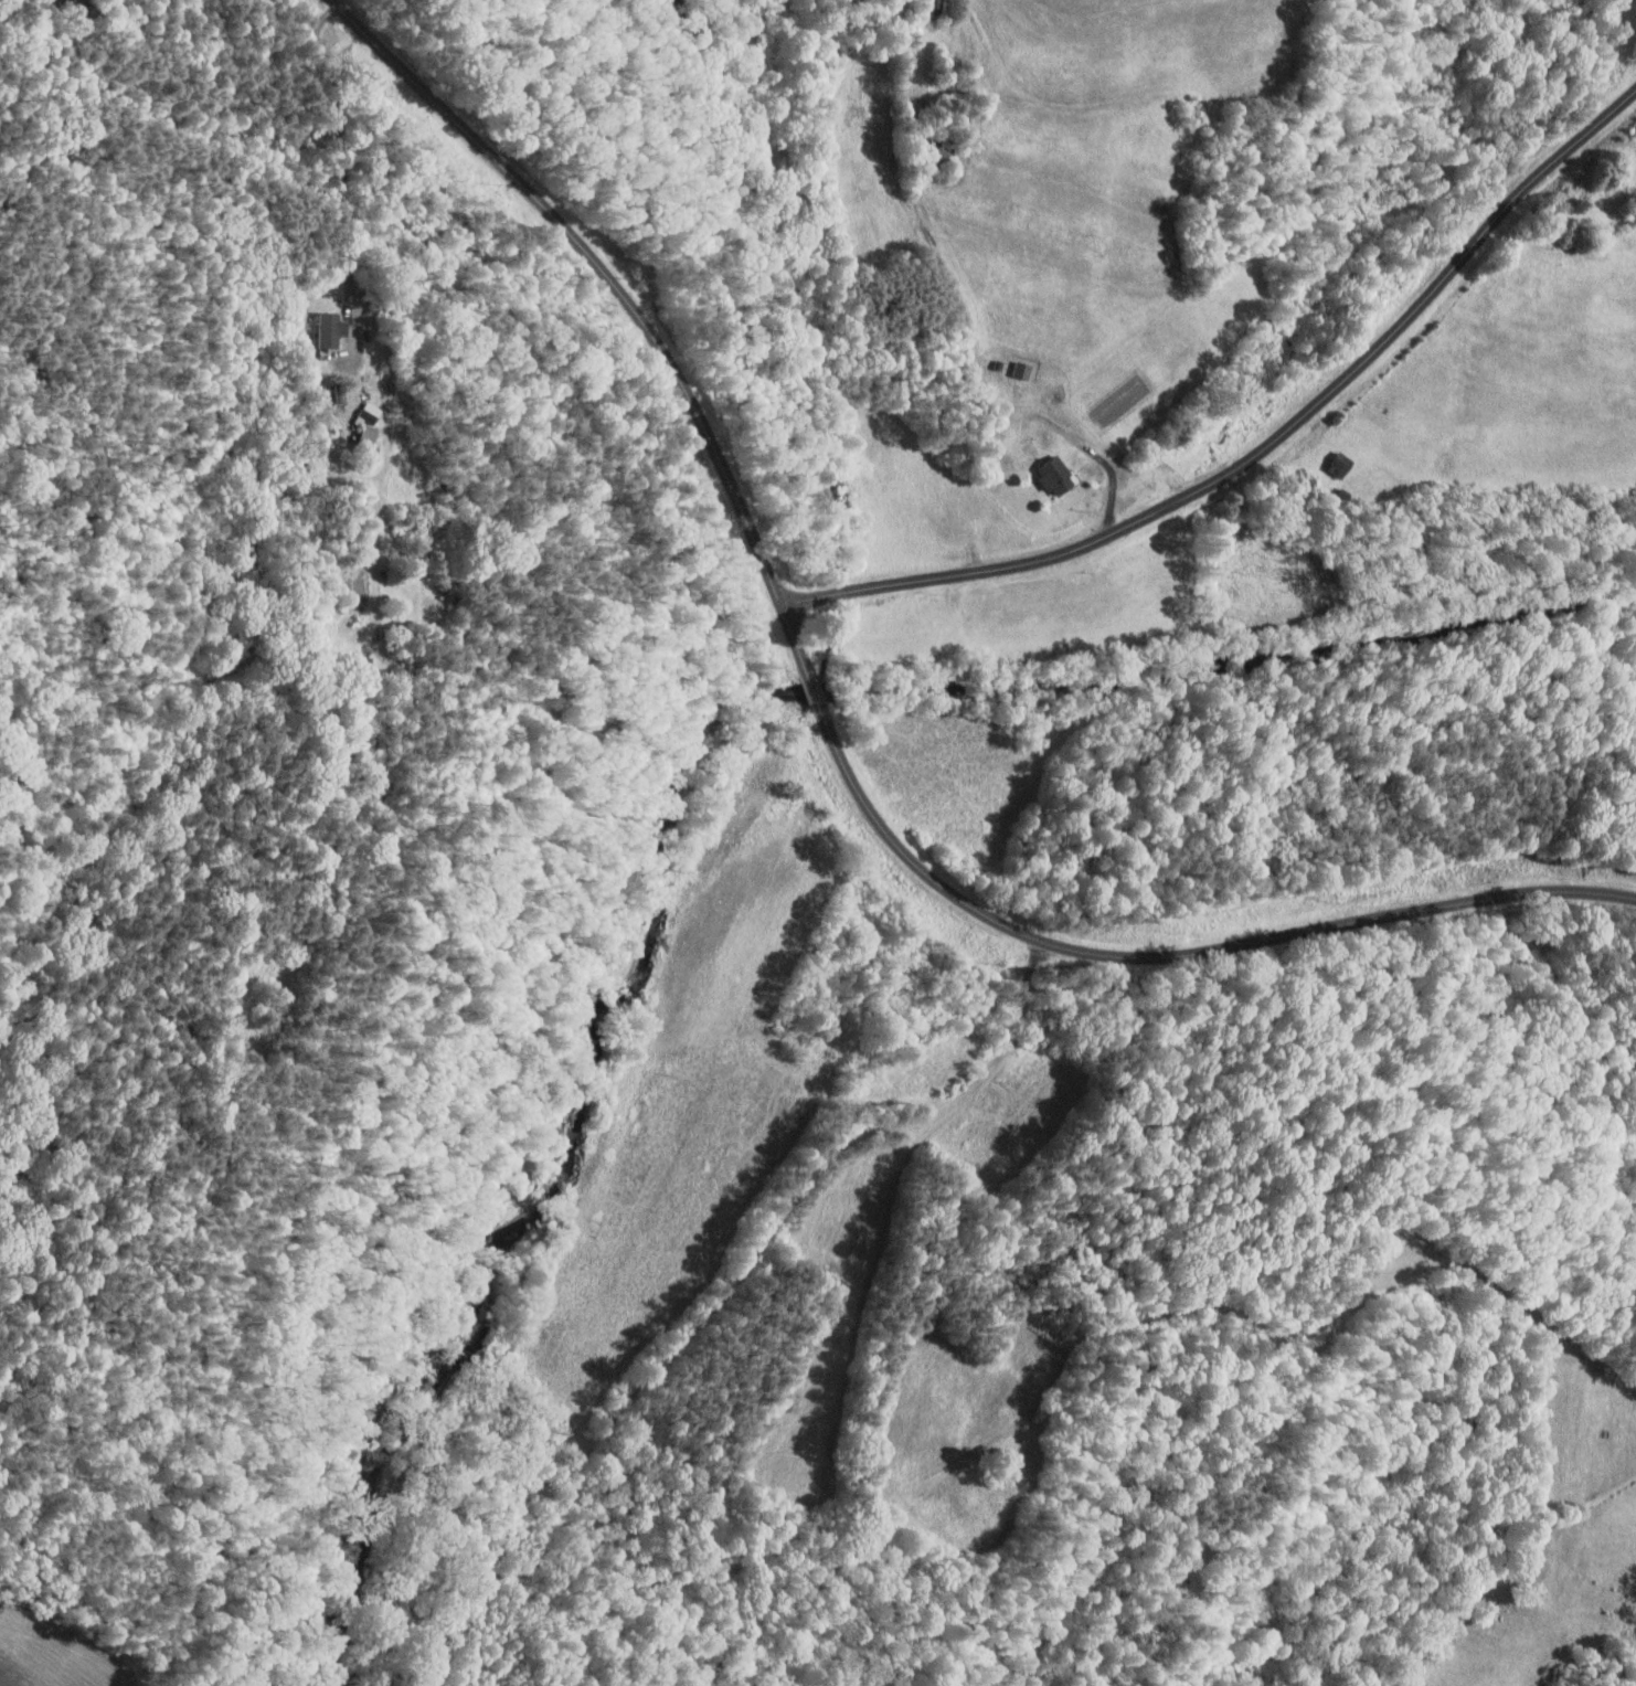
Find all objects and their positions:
road: (338, 155)
road: (623, 299)
building: (331, 329)
building: (1022, 371)
building: (370, 412)
building: (368, 437)
road: (1263, 449)
building: (1340, 464)
building: (1055, 475)
road: (1114, 476)
road: (814, 689)
road: (1173, 954)

